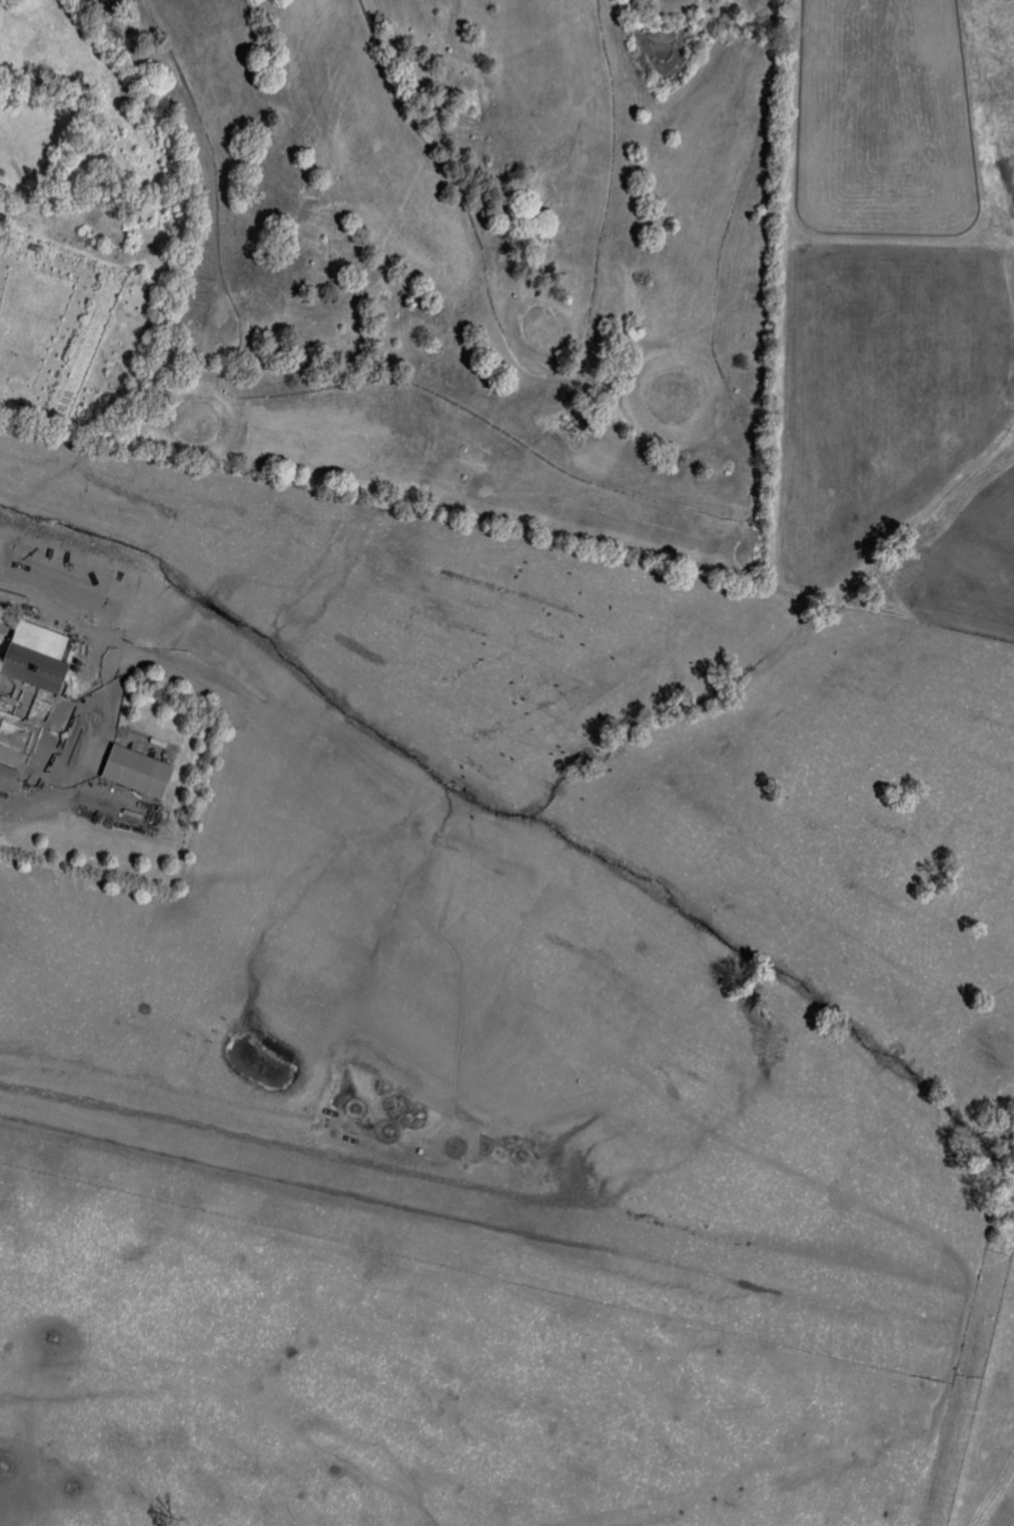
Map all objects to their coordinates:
building: (36, 656)
building: (12, 757)
building: (136, 771)
building: (9, 779)
road: (37, 804)
airport runway: (470, 1207)

